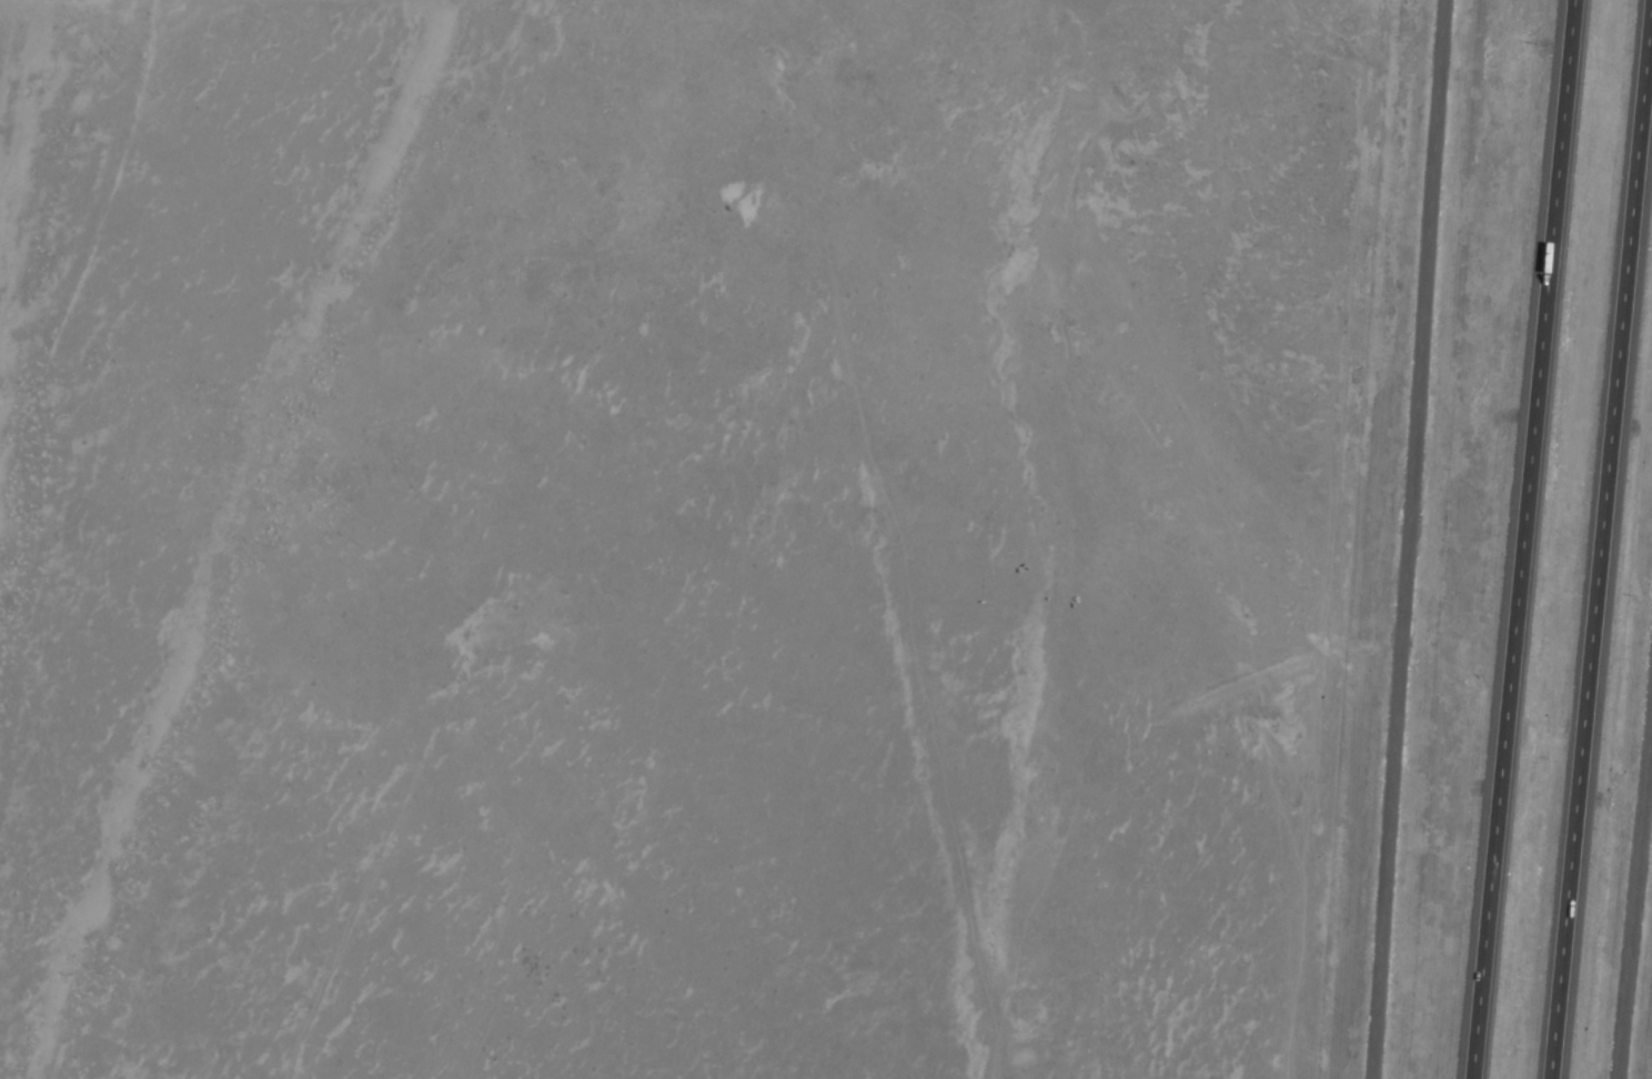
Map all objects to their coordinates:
road: (11, 218)
road: (1595, 538)
road: (1403, 539)
road: (1519, 539)
road: (1634, 870)

